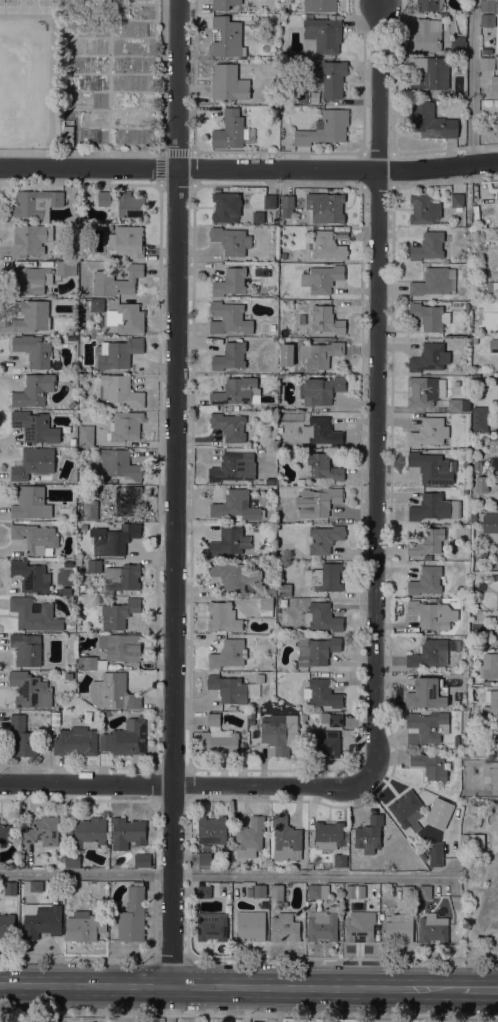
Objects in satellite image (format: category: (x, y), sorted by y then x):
building: (89, 3)
building: (224, 4)
building: (429, 4)
building: (320, 5)
building: (489, 5)
building: (288, 6)
building: (123, 11)
building: (235, 16)
building: (488, 20)
building: (324, 33)
building: (427, 35)
building: (227, 37)
building: (458, 46)
building: (486, 47)
building: (446, 51)
building: (487, 63)
building: (309, 69)
building: (429, 74)
building: (331, 78)
building: (228, 82)
road: (472, 82)
building: (493, 86)
building: (497, 90)
building: (284, 92)
building: (482, 95)
building: (297, 96)
building: (314, 96)
building: (430, 121)
building: (324, 128)
building: (497, 129)
building: (229, 130)
building: (68, 135)
road: (249, 169)
building: (73, 189)
building: (497, 193)
building: (75, 198)
building: (270, 201)
building: (457, 201)
building: (37, 203)
building: (122, 203)
building: (287, 205)
building: (225, 207)
building: (325, 207)
building: (424, 209)
building: (258, 216)
building: (30, 239)
building: (230, 240)
building: (126, 242)
building: (327, 245)
building: (428, 246)
building: (69, 248)
building: (82, 251)
building: (284, 254)
building: (95, 256)
building: (66, 268)
building: (322, 278)
building: (31, 280)
building: (116, 281)
building: (231, 281)
building: (433, 281)
building: (490, 286)
building: (495, 288)
building: (50, 295)
building: (97, 305)
building: (430, 316)
building: (32, 317)
building: (228, 318)
building: (125, 319)
building: (326, 319)
building: (272, 327)
building: (70, 331)
building: (474, 339)
building: (493, 345)
building: (33, 350)
building: (119, 354)
building: (320, 354)
building: (230, 356)
building: (430, 357)
building: (476, 375)
building: (281, 376)
building: (455, 383)
building: (34, 390)
building: (119, 390)
building: (321, 390)
building: (425, 390)
building: (236, 391)
road: (378, 391)
building: (72, 403)
building: (458, 405)
building: (480, 419)
building: (35, 426)
building: (125, 426)
building: (229, 426)
building: (321, 431)
building: (428, 432)
building: (86, 435)
building: (72, 441)
building: (33, 462)
building: (465, 462)
building: (119, 464)
building: (477, 465)
building: (227, 467)
building: (323, 467)
building: (433, 467)
building: (483, 468)
building: (496, 478)
building: (480, 483)
building: (281, 489)
building: (464, 491)
road: (176, 493)
building: (128, 500)
building: (317, 501)
building: (31, 502)
building: (236, 505)
building: (434, 507)
building: (90, 510)
building: (473, 517)
building: (490, 523)
building: (83, 527)
building: (36, 538)
building: (325, 538)
building: (114, 539)
building: (232, 541)
building: (427, 542)
building: (428, 557)
building: (94, 565)
building: (234, 574)
building: (31, 576)
building: (124, 576)
building: (494, 576)
building: (324, 577)
building: (426, 580)
building: (269, 589)
building: (284, 589)
building: (266, 607)
building: (118, 613)
building: (34, 614)
building: (432, 614)
building: (223, 617)
building: (324, 617)
building: (121, 646)
building: (26, 649)
building: (316, 650)
building: (432, 652)
building: (229, 653)
building: (86, 662)
building: (489, 665)
building: (68, 675)
building: (259, 675)
building: (486, 682)
building: (228, 688)
building: (30, 690)
building: (113, 692)
building: (322, 693)
building: (427, 693)
building: (491, 702)
building: (304, 717)
building: (55, 718)
building: (332, 719)
building: (251, 721)
building: (426, 727)
building: (280, 732)
building: (129, 737)
building: (219, 737)
building: (497, 737)
building: (21, 738)
building: (75, 741)
building: (456, 741)
building: (325, 743)
building: (481, 752)
building: (430, 766)
building: (490, 771)
road: (184, 784)
building: (477, 805)
building: (408, 811)
building: (480, 818)
building: (212, 829)
building: (42, 831)
building: (68, 831)
building: (90, 831)
building: (127, 832)
building: (4, 833)
building: (369, 834)
building: (328, 835)
building: (250, 838)
building: (286, 839)
building: (472, 840)
building: (206, 847)
building: (225, 847)
building: (435, 853)
building: (72, 858)
building: (204, 859)
building: (142, 860)
building: (340, 860)
building: (310, 866)
road: (226, 874)
building: (36, 886)
building: (10, 888)
building: (260, 890)
building: (203, 891)
building: (277, 891)
building: (318, 891)
building: (351, 891)
building: (407, 891)
building: (249, 892)
building: (425, 892)
building: (132, 914)
building: (40, 919)
building: (340, 923)
building: (322, 924)
building: (7, 925)
building: (250, 925)
building: (84, 926)
building: (212, 926)
building: (284, 927)
building: (359, 927)
building: (399, 928)
building: (433, 928)
road: (77, 955)
road: (170, 957)
road: (342, 958)
road: (229, 988)
road: (478, 990)
road: (51, 1004)
road: (168, 1004)
road: (248, 1015)

